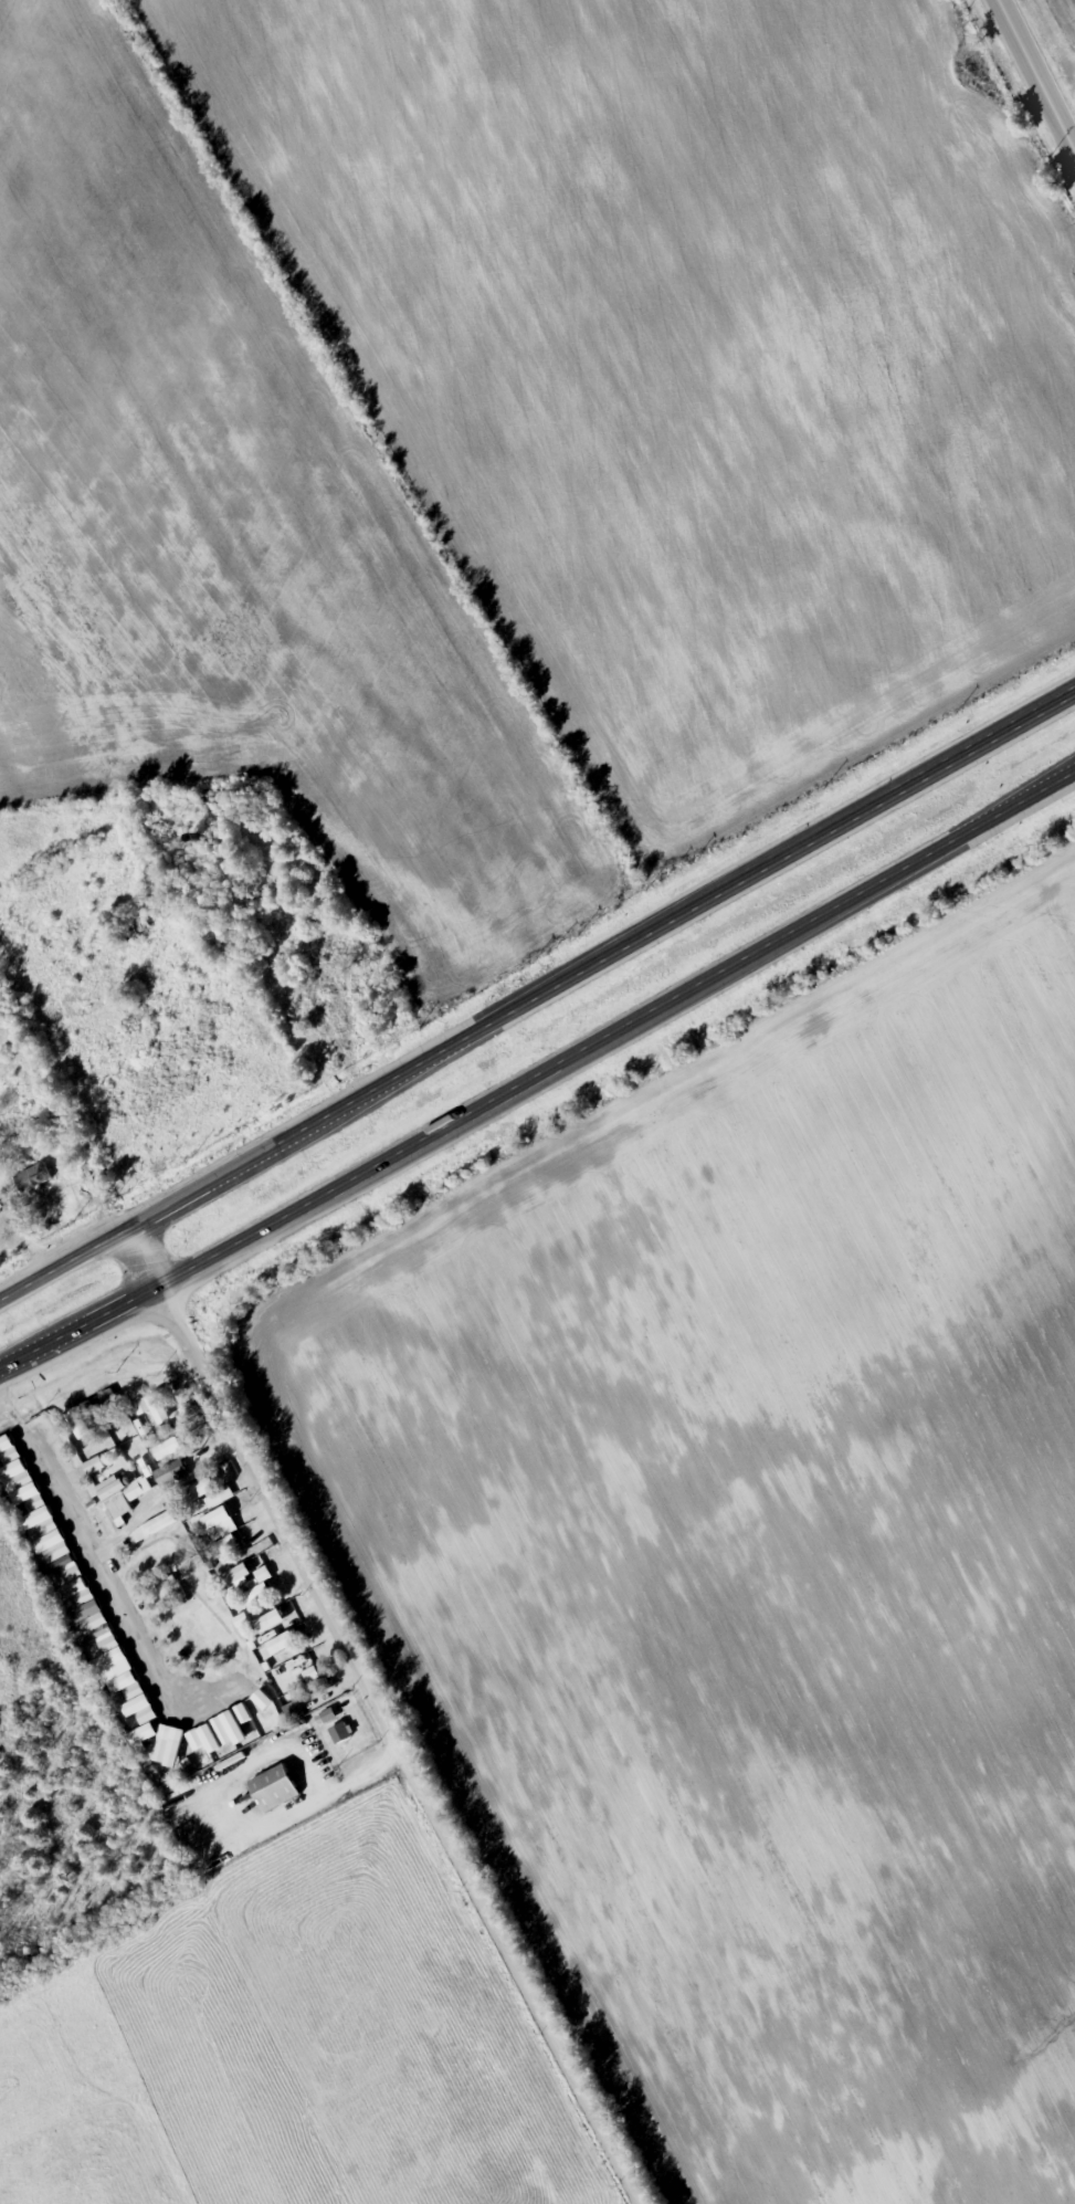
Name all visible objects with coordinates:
road: (1030, 83)
building: (361, 975)
road: (538, 993)
road: (545, 1081)
building: (33, 1178)
building: (8, 1452)
building: (23, 1481)
building: (219, 1498)
building: (116, 1501)
building: (34, 1502)
building: (208, 1521)
building: (54, 1540)
building: (75, 1582)
building: (166, 1591)
building: (97, 1621)
building: (105, 1641)
building: (123, 1672)
building: (134, 1692)
building: (293, 1711)
road: (383, 1714)
building: (146, 1717)
building: (210, 1736)
building: (167, 1753)
building: (274, 1788)

